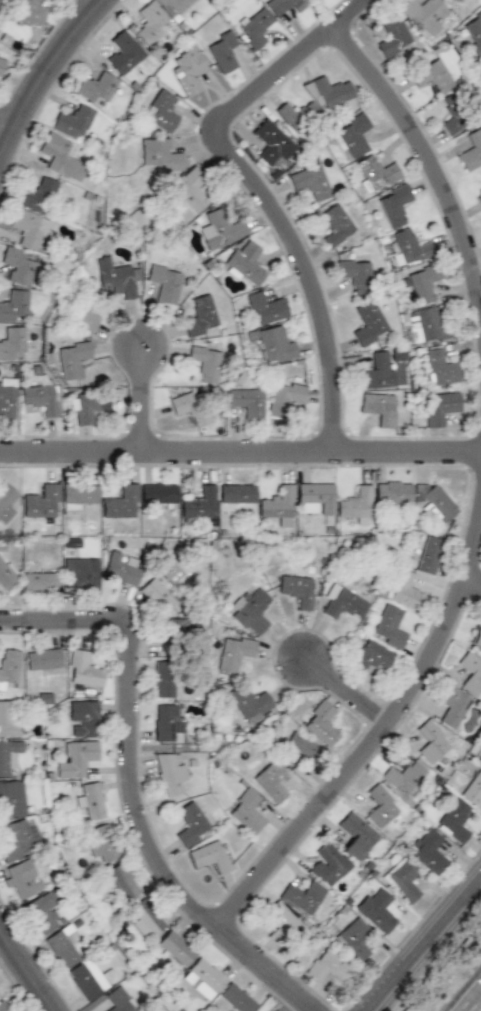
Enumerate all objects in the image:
building: (457, 1)
road: (105, 5)
building: (172, 6)
building: (283, 6)
building: (29, 13)
building: (423, 14)
building: (149, 22)
building: (254, 26)
building: (472, 32)
building: (393, 39)
building: (222, 50)
building: (123, 52)
building: (2, 65)
building: (189, 70)
building: (432, 76)
road: (50, 85)
building: (95, 87)
building: (329, 91)
building: (161, 111)
building: (456, 114)
building: (297, 115)
building: (72, 120)
road: (9, 135)
building: (352, 135)
building: (272, 141)
road: (425, 147)
building: (471, 151)
building: (160, 153)
building: (60, 157)
building: (377, 173)
building: (480, 175)
building: (309, 181)
building: (190, 189)
road: (261, 191)
building: (36, 194)
building: (479, 200)
building: (394, 205)
building: (335, 225)
building: (28, 228)
building: (218, 229)
building: (410, 247)
building: (245, 263)
building: (17, 266)
building: (354, 274)
building: (117, 278)
building: (163, 282)
building: (424, 283)
building: (13, 304)
building: (265, 307)
building: (199, 316)
building: (84, 317)
building: (368, 323)
building: (426, 325)
building: (12, 343)
building: (274, 345)
building: (71, 358)
building: (204, 362)
building: (440, 367)
building: (378, 372)
building: (286, 395)
building: (7, 398)
building: (41, 399)
building: (245, 401)
road: (149, 404)
building: (86, 406)
building: (191, 406)
building: (440, 407)
building: (379, 408)
road: (240, 456)
building: (393, 491)
building: (157, 493)
building: (236, 493)
building: (78, 495)
building: (315, 498)
building: (41, 501)
building: (6, 502)
building: (439, 502)
building: (120, 503)
building: (198, 504)
building: (277, 505)
building: (355, 505)
building: (428, 555)
building: (119, 569)
building: (6, 576)
building: (79, 576)
building: (37, 581)
road: (476, 585)
building: (295, 589)
building: (403, 590)
building: (157, 595)
building: (341, 602)
building: (250, 611)
building: (388, 626)
building: (175, 635)
building: (476, 636)
building: (233, 653)
building: (371, 658)
building: (42, 659)
building: (8, 667)
building: (83, 669)
building: (470, 671)
building: (162, 679)
road: (346, 690)
building: (248, 701)
building: (451, 705)
building: (82, 718)
building: (8, 721)
building: (320, 723)
building: (167, 724)
building: (430, 741)
building: (298, 748)
building: (8, 754)
road: (371, 755)
building: (77, 759)
building: (480, 760)
building: (169, 773)
building: (404, 777)
building: (272, 780)
road: (137, 788)
building: (473, 788)
building: (11, 798)
building: (91, 800)
building: (379, 805)
building: (246, 810)
building: (454, 820)
building: (190, 823)
building: (356, 835)
building: (19, 840)
building: (101, 844)
building: (428, 851)
building: (209, 856)
building: (328, 864)
building: (21, 878)
building: (402, 880)
building: (122, 881)
building: (302, 896)
building: (376, 909)
building: (41, 912)
building: (280, 916)
building: (144, 918)
road: (3, 937)
building: (354, 939)
building: (63, 947)
building: (175, 948)
road: (430, 951)
building: (326, 966)
road: (27, 968)
building: (204, 974)
building: (89, 978)
building: (236, 998)
building: (117, 1001)
road: (477, 1006)
building: (2, 1007)
building: (274, 1010)
building: (275, 1010)

